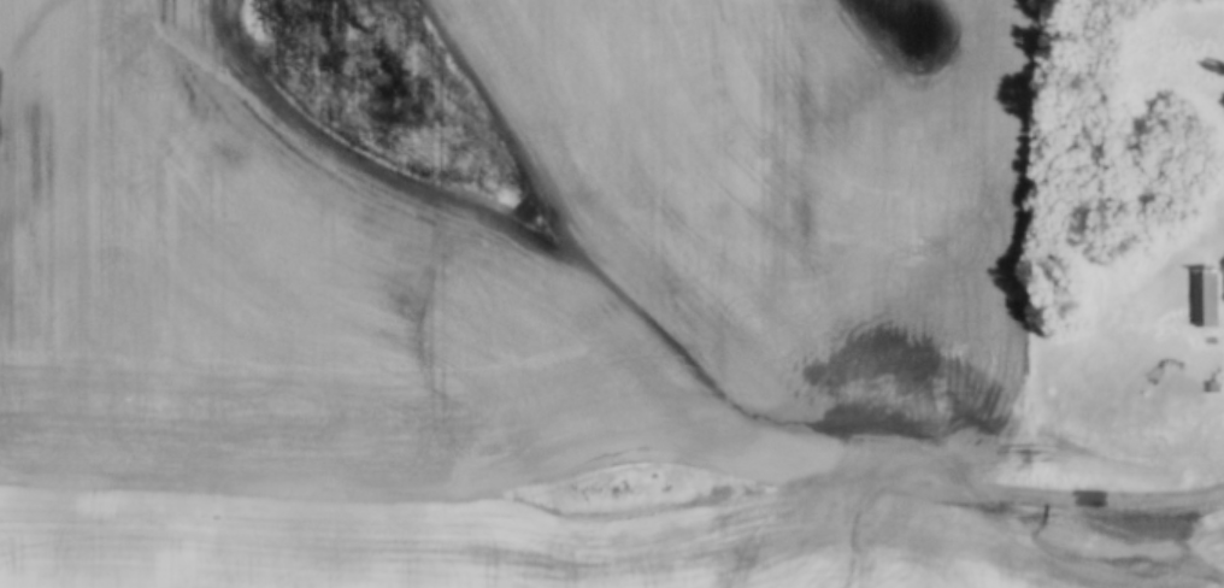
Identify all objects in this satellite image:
building: (1207, 296)
road: (613, 522)

